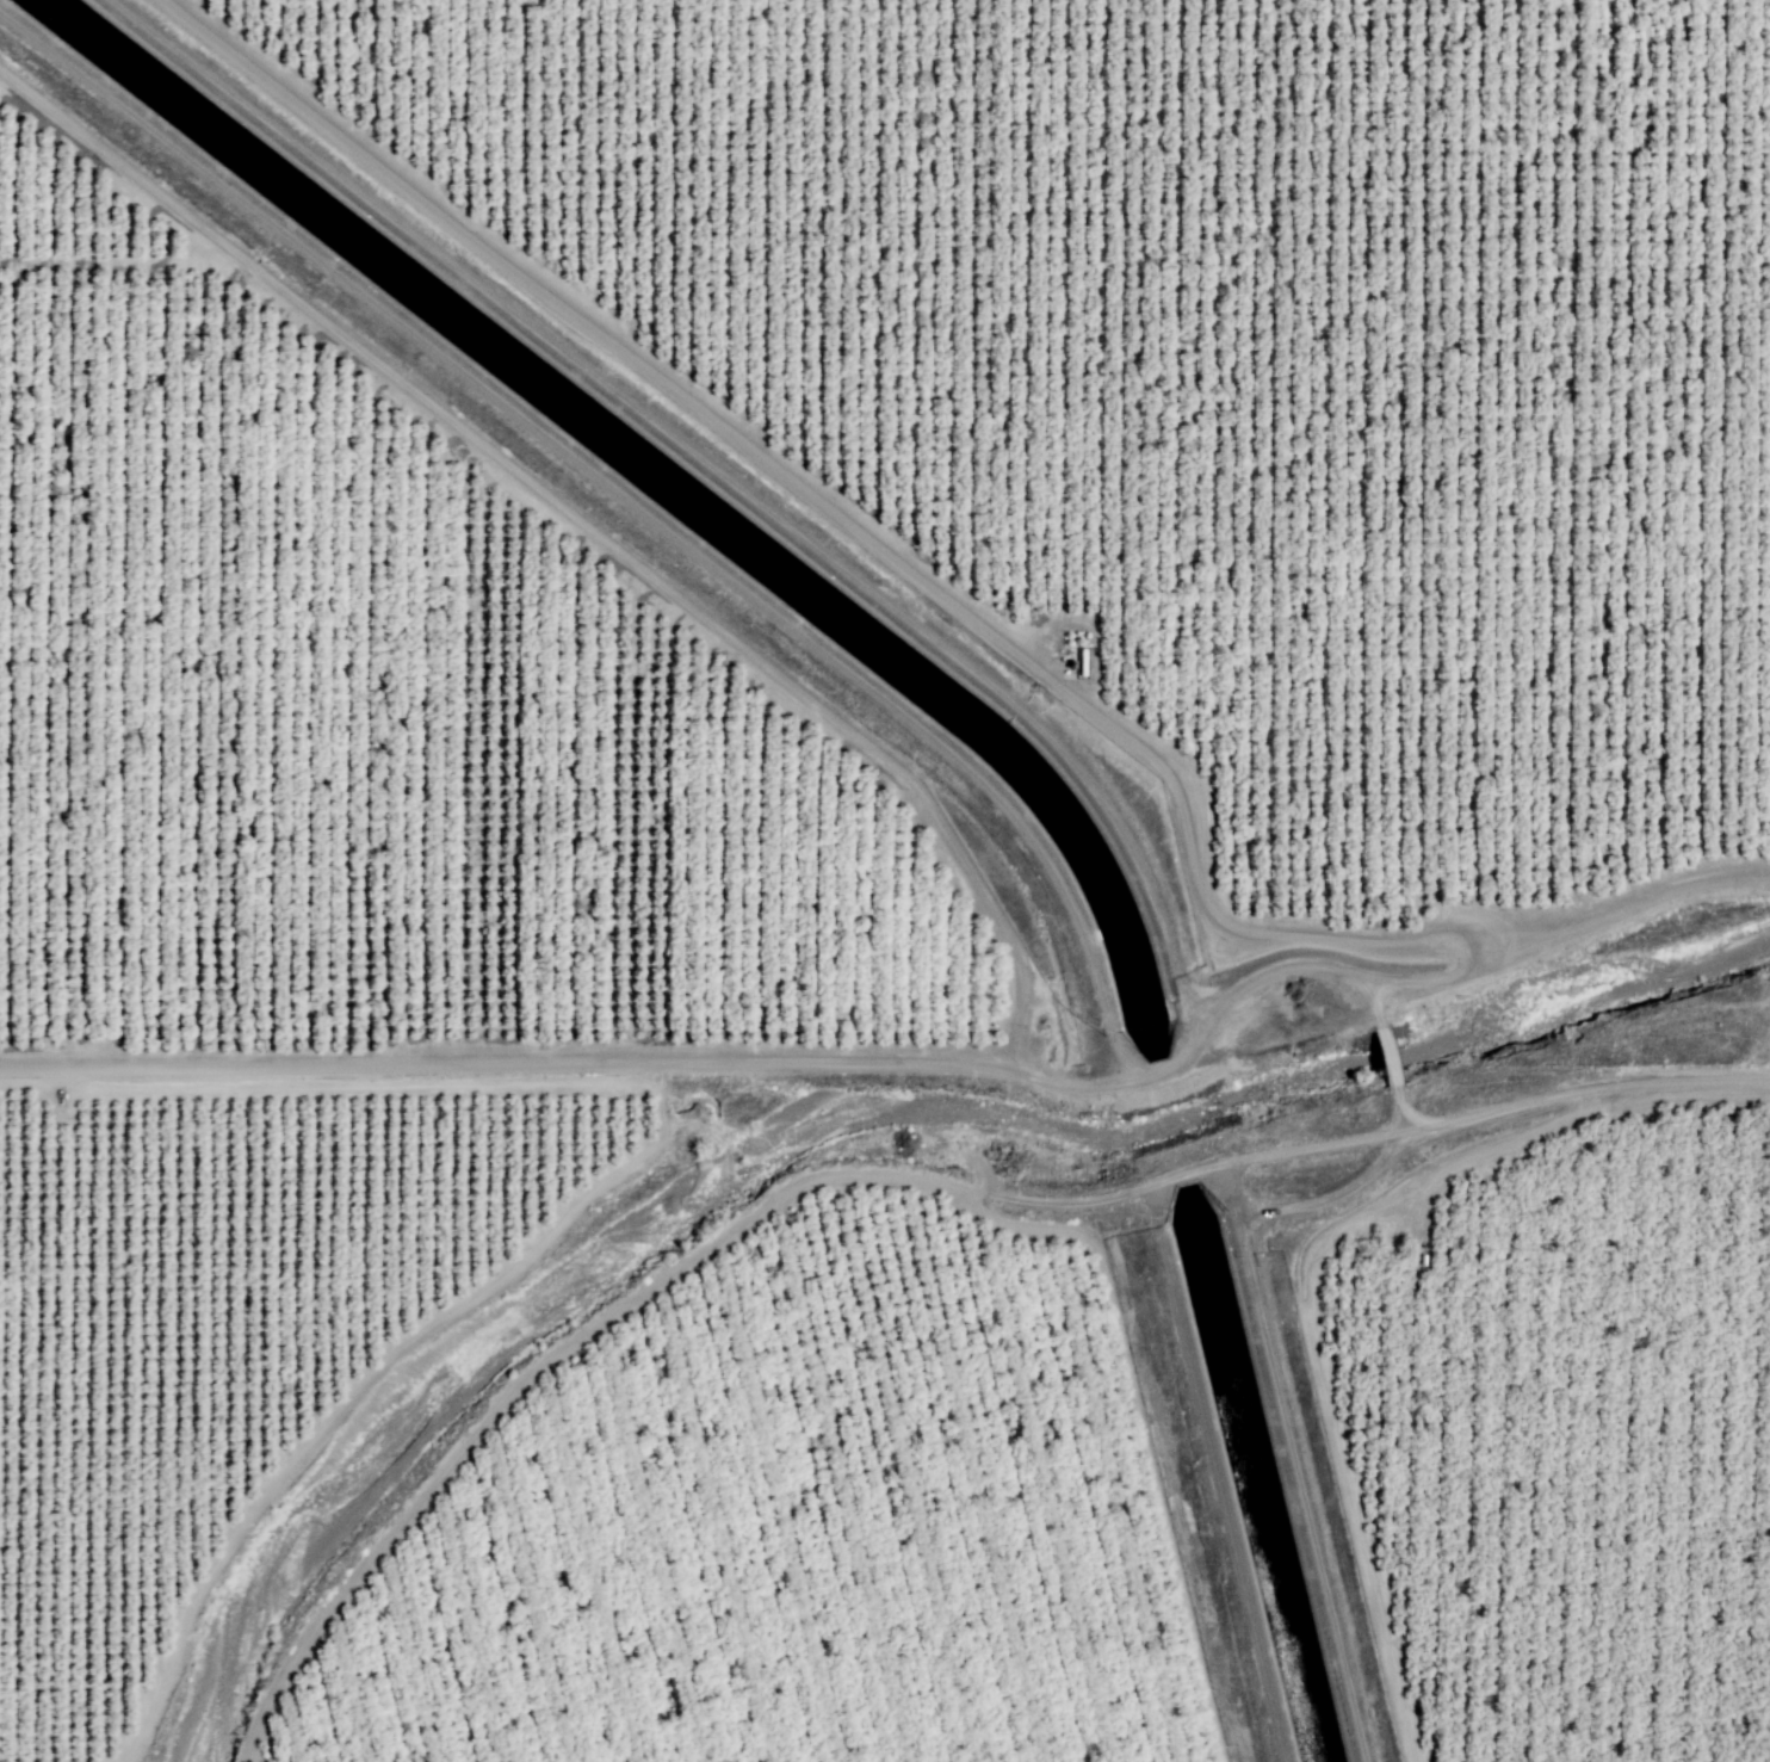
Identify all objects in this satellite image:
road: (627, 501)
road: (836, 514)
road: (581, 525)
road: (1559, 938)
road: (1382, 1057)
road: (729, 1061)
road: (1406, 1113)
road: (884, 1175)
road: (607, 1179)
road: (1232, 1199)
road: (1313, 1328)
road: (1276, 1405)
road: (1213, 1472)

